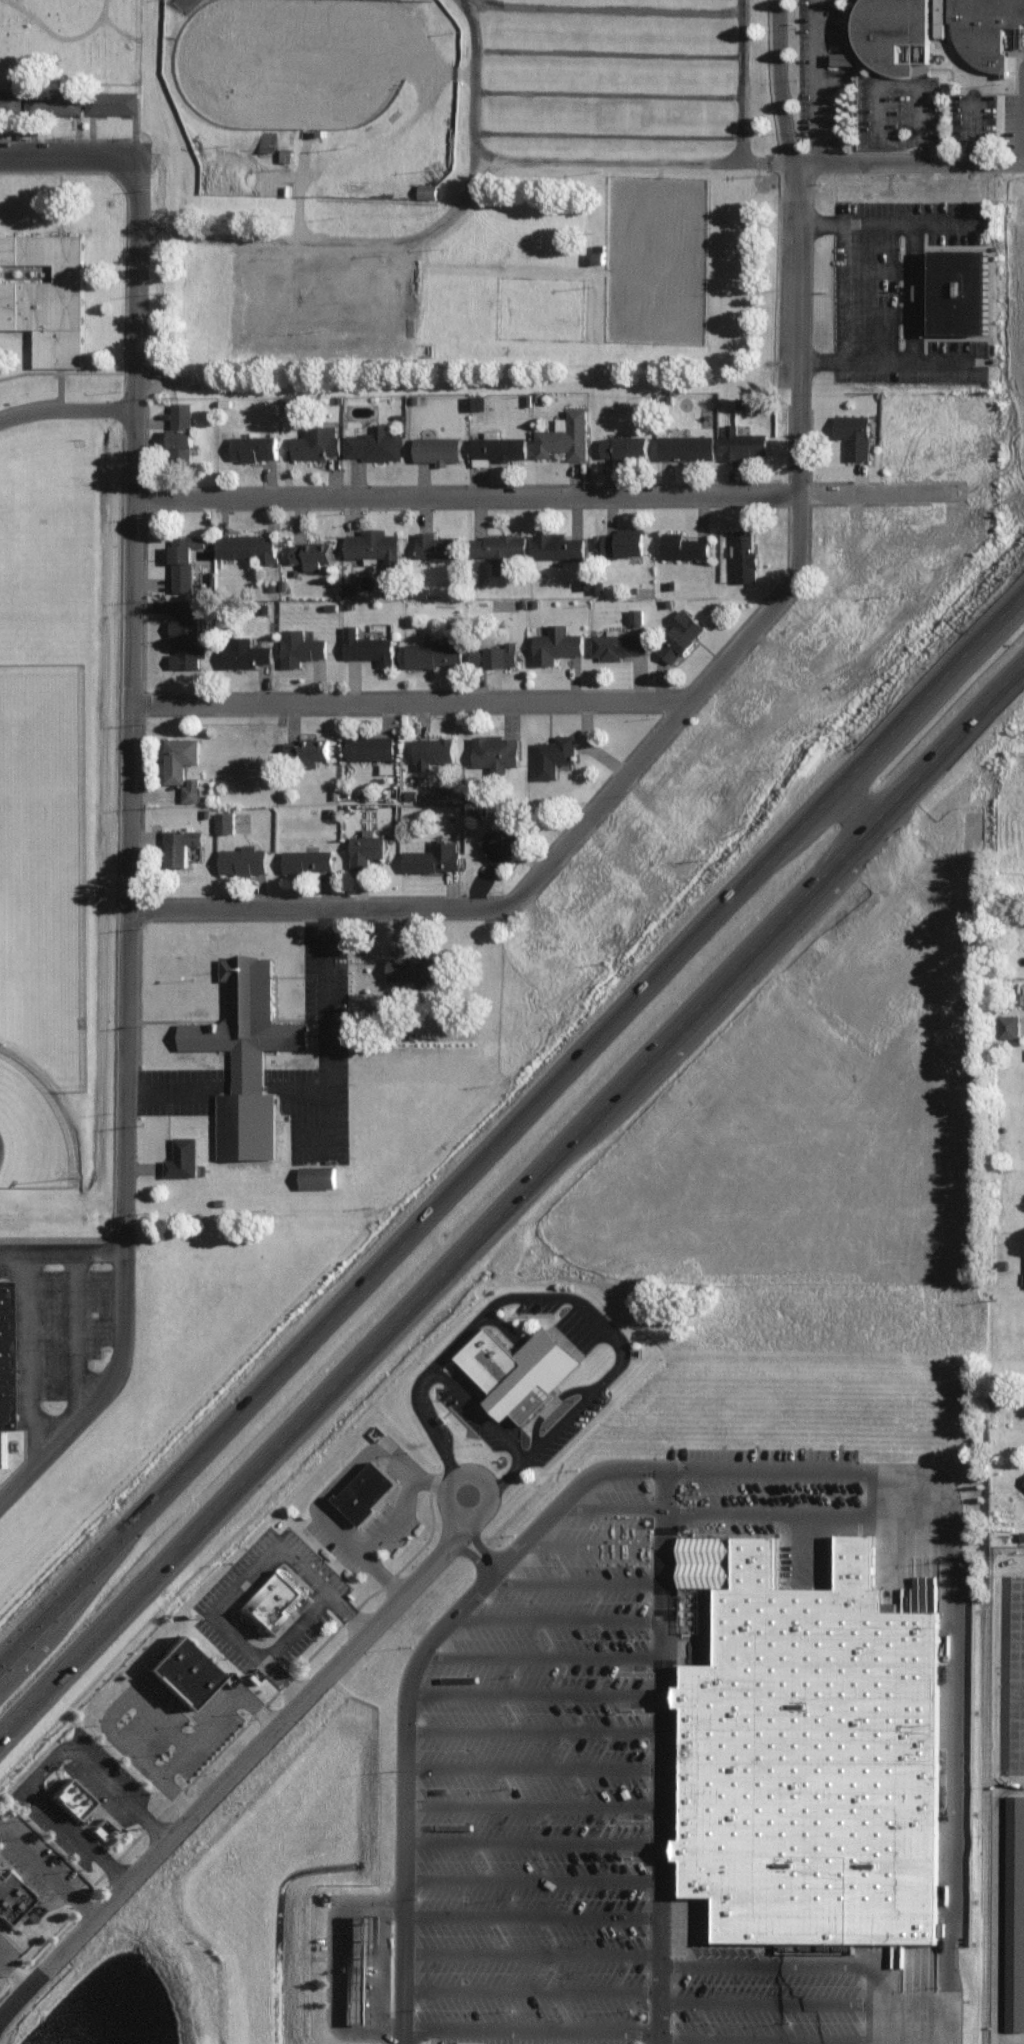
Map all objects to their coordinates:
building: (186, 3)
road: (616, 6)
road: (128, 22)
park: (76, 29)
building: (985, 29)
road: (71, 30)
building: (940, 30)
building: (896, 34)
park: (314, 56)
building: (845, 57)
road: (751, 76)
road: (818, 80)
road: (890, 84)
building: (10, 100)
building: (53, 101)
building: (111, 101)
parking lot: (1018, 117)
road: (70, 149)
road: (638, 152)
road: (906, 160)
building: (427, 190)
road: (892, 216)
road: (415, 234)
road: (798, 244)
building: (599, 253)
road: (894, 262)
road: (864, 284)
road: (924, 285)
building: (959, 291)
building: (45, 292)
building: (1013, 304)
road: (894, 307)
road: (888, 354)
road: (71, 400)
building: (477, 400)
building: (181, 429)
building: (854, 433)
building: (565, 434)
building: (316, 441)
building: (373, 442)
building: (743, 442)
building: (624, 445)
building: (687, 445)
building: (254, 446)
building: (497, 446)
building: (437, 448)
road: (549, 491)
road: (143, 529)
building: (621, 541)
building: (436, 544)
building: (558, 544)
building: (684, 544)
building: (247, 545)
building: (376, 546)
building: (499, 548)
building: (312, 552)
building: (745, 555)
building: (184, 560)
road: (1006, 561)
road: (1006, 567)
building: (636, 614)
building: (681, 634)
building: (186, 641)
building: (556, 643)
building: (618, 644)
building: (368, 645)
building: (300, 646)
building: (438, 648)
building: (245, 652)
building: (495, 653)
road: (895, 687)
road: (419, 697)
road: (690, 704)
road: (910, 737)
building: (370, 745)
building: (307, 746)
building: (433, 749)
building: (496, 750)
building: (553, 754)
road: (910, 755)
building: (179, 756)
building: (387, 766)
building: (191, 788)
building: (494, 809)
building: (224, 820)
building: (504, 840)
building: (180, 844)
building: (365, 849)
building: (433, 856)
building: (243, 858)
building: (307, 859)
road: (331, 900)
road: (727, 937)
building: (419, 966)
building: (1009, 1024)
road: (337, 1032)
building: (247, 1057)
road: (317, 1084)
road: (174, 1085)
park: (37, 1121)
building: (843, 1126)
building: (182, 1156)
building: (317, 1175)
road: (402, 1224)
road: (134, 1227)
road: (66, 1243)
parking lot: (550, 1296)
building: (929, 1300)
road: (601, 1305)
road: (385, 1307)
road: (75, 1332)
road: (29, 1349)
building: (10, 1353)
building: (527, 1366)
road: (561, 1396)
road: (488, 1404)
parking lot: (484, 1410)
parking lot: (574, 1422)
road: (440, 1427)
road: (368, 1452)
road: (770, 1464)
road: (504, 1480)
road: (443, 1482)
building: (1023, 1482)
road: (418, 1485)
parking lot: (771, 1486)
building: (375, 1487)
road: (578, 1488)
road: (620, 1503)
road: (913, 1503)
road: (777, 1504)
road: (400, 1517)
parking lot: (401, 1518)
road: (348, 1526)
parking lot: (347, 1531)
road: (483, 1538)
road: (601, 1539)
road: (374, 1545)
parking lot: (323, 1556)
road: (261, 1565)
parking lot: (247, 1566)
road: (393, 1571)
road: (584, 1573)
road: (333, 1592)
building: (283, 1598)
road: (359, 1610)
road: (565, 1612)
road: (306, 1621)
parking lot: (313, 1628)
road: (262, 1633)
parking lot: (238, 1637)
road: (549, 1648)
road: (278, 1650)
road: (271, 1653)
road: (56, 1664)
building: (193, 1667)
road: (291, 1672)
road: (542, 1686)
road: (262, 1696)
road: (132, 1701)
parking lot: (150, 1714)
parking lot: (220, 1721)
road: (542, 1724)
road: (959, 1724)
road: (210, 1727)
road: (192, 1732)
building: (818, 1748)
road: (671, 1754)
road: (55, 1755)
road: (241, 1759)
road: (541, 1760)
road: (176, 1763)
parking lot: (117, 1771)
road: (116, 1772)
road: (178, 1778)
road: (412, 1786)
road: (59, 1793)
building: (80, 1793)
road: (541, 1800)
road: (72, 1813)
parking lot: (583, 1814)
parking lot: (6, 1815)
road: (164, 1818)
parking lot: (67, 1823)
road: (541, 1837)
parking lot: (2, 1851)
road: (43, 1851)
parking lot: (50, 1856)
road: (119, 1856)
road: (541, 1873)
building: (16, 1893)
road: (93, 1897)
road: (540, 1909)
building: (1015, 1913)
parking lot: (10, 1944)
road: (540, 1946)
road: (8, 1951)
road: (774, 1959)
road: (347, 1961)
road: (389, 1962)
building: (369, 1965)
gas station: (369, 1965)
road: (26, 1967)
road: (540, 1984)
road: (792, 1996)
road: (540, 2021)
road: (793, 2034)
road: (918, 2035)

